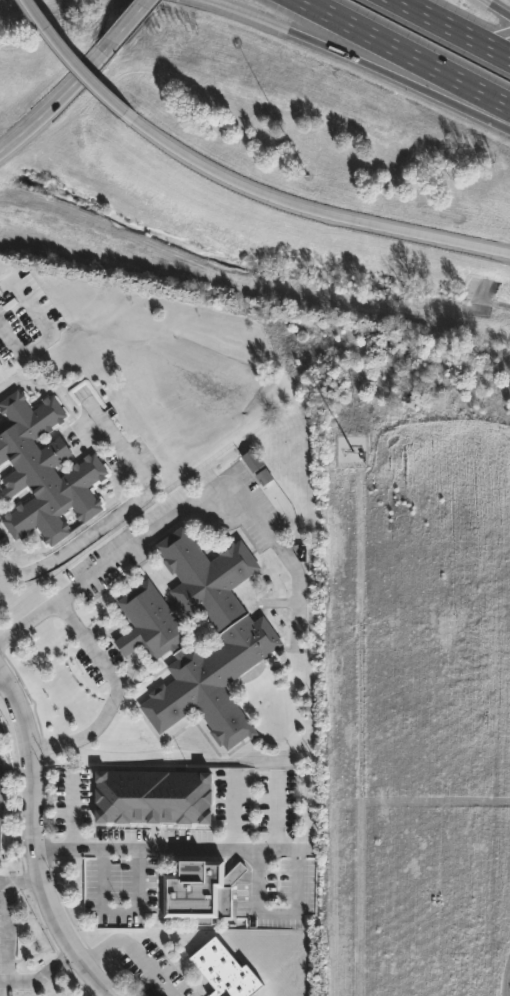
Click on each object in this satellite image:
road: (496, 8)
road: (139, 22)
road: (454, 28)
road: (405, 53)
road: (344, 54)
road: (64, 58)
road: (62, 107)
road: (494, 122)
road: (303, 208)
road: (12, 336)
building: (0, 366)
building: (253, 460)
building: (44, 470)
road: (186, 507)
road: (117, 512)
building: (152, 637)
road: (119, 696)
building: (154, 797)
road: (232, 811)
road: (70, 812)
road: (276, 812)
building: (0, 832)
road: (35, 845)
road: (165, 848)
road: (20, 880)
building: (201, 890)
road: (119, 911)
road: (277, 912)
road: (130, 948)
building: (227, 971)
road: (38, 976)
road: (96, 991)

